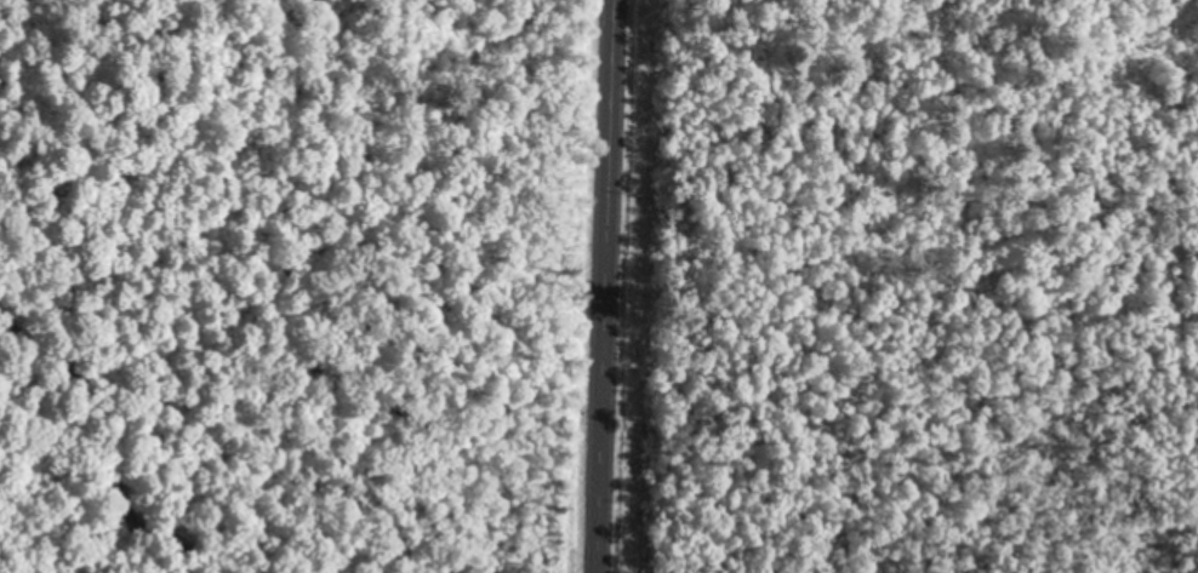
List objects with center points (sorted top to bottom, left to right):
road: (607, 286)

